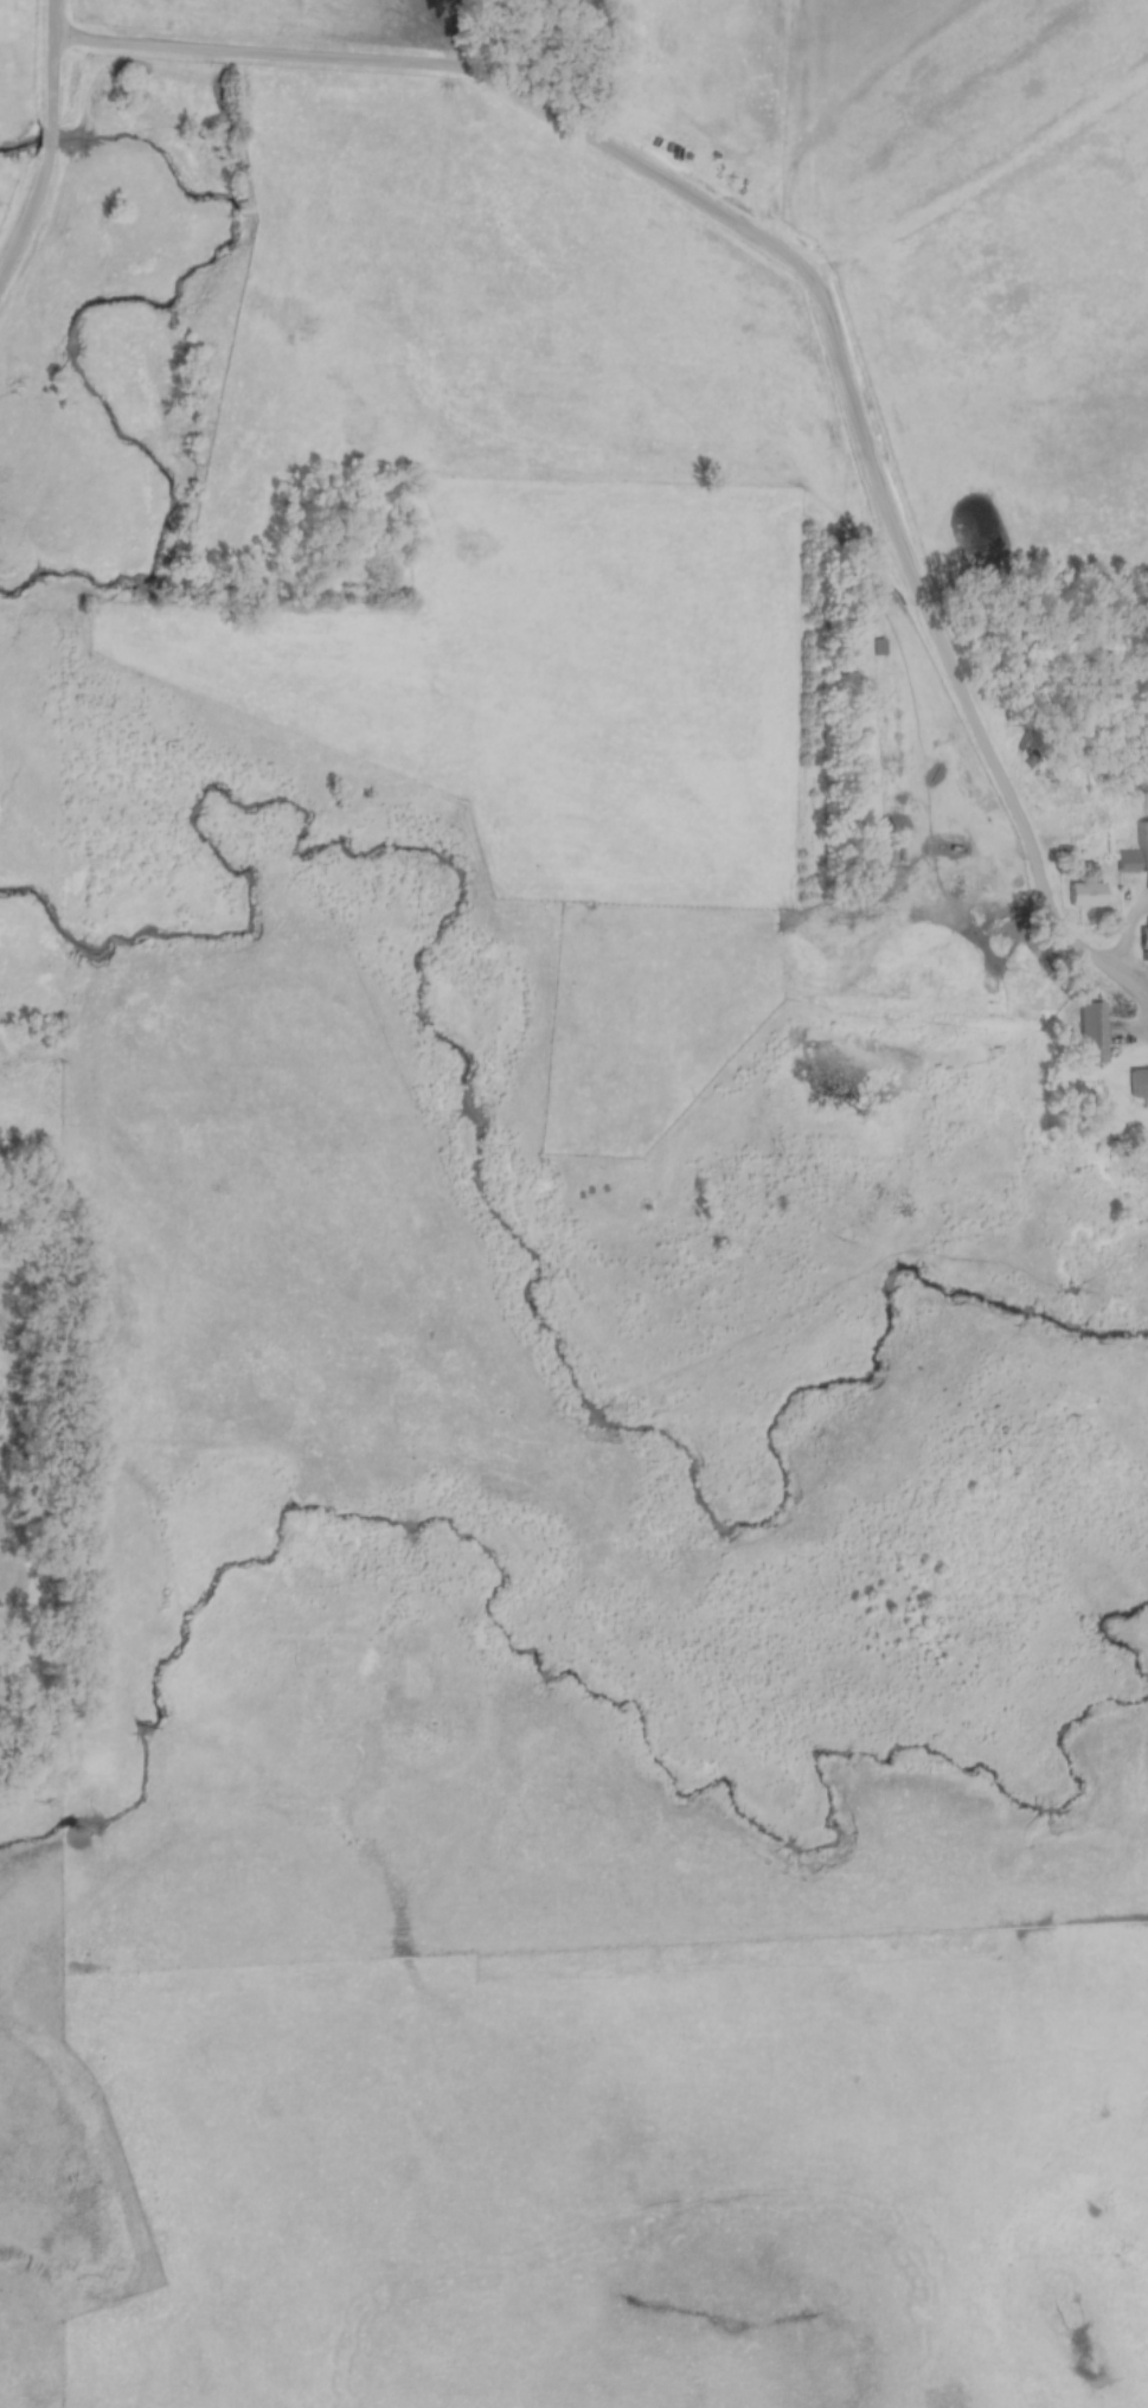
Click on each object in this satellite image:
road: (51, 62)
road: (49, 139)
road: (28, 218)
road: (764, 244)
river: (90, 301)
building: (1142, 846)
building: (1082, 894)
building: (1142, 936)
building: (1086, 1032)
building: (1135, 1082)
river: (476, 1165)

